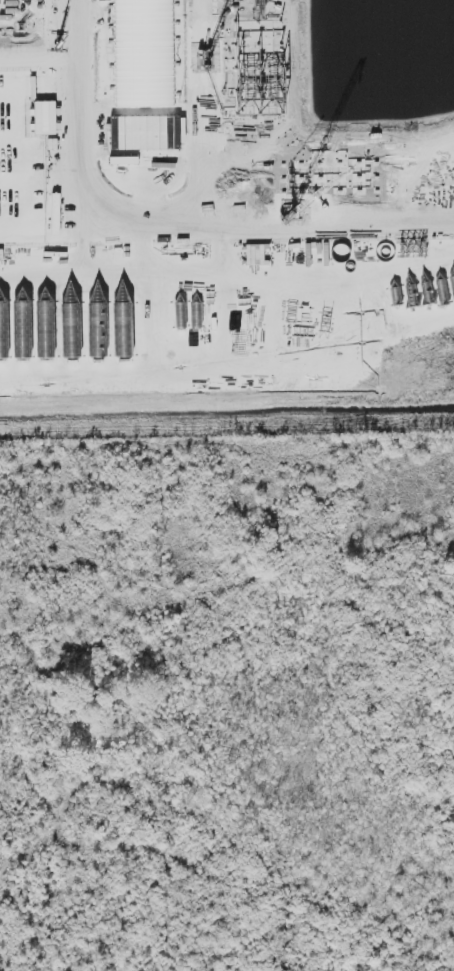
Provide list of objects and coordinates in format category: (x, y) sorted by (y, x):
road: (37, 59)
road: (73, 104)
building: (150, 132)
building: (114, 133)
road: (196, 172)

